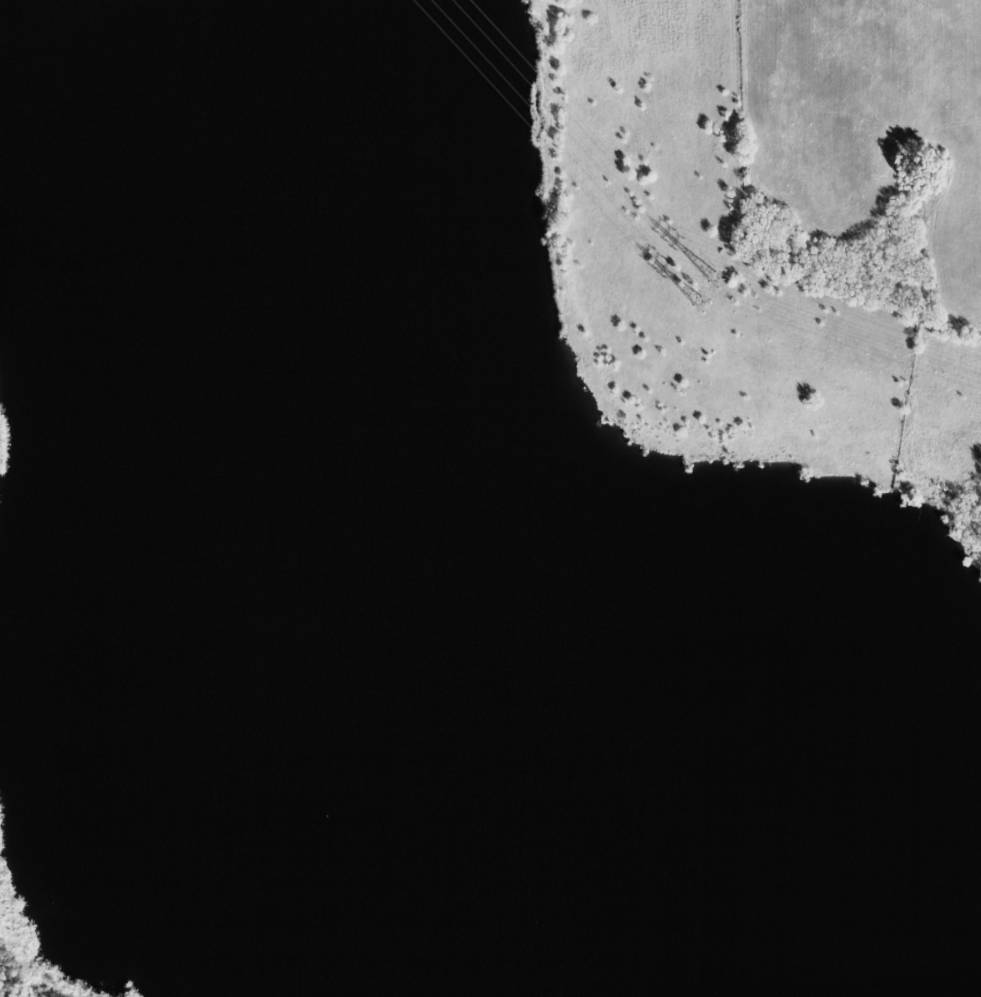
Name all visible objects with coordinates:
power tower: (734, 285)
power tower: (709, 310)

